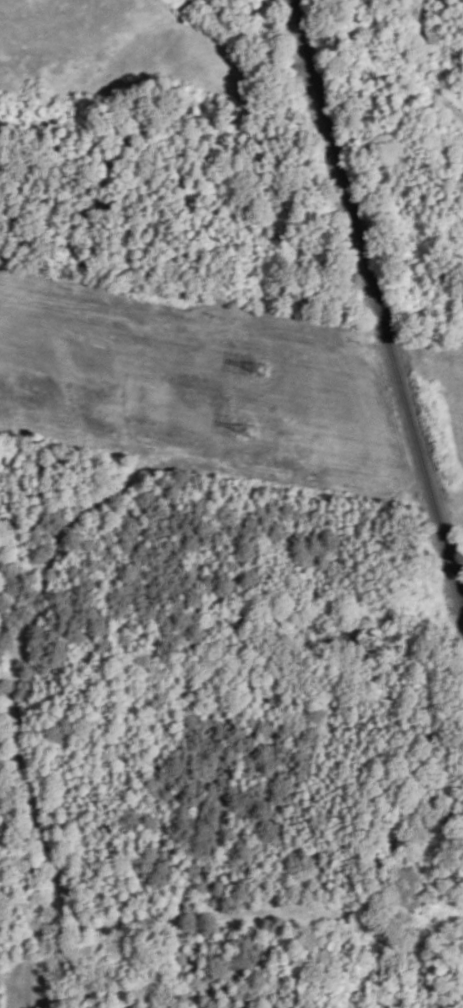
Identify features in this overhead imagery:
railway: (377, 300)
power tower: (257, 372)
power tower: (248, 436)

